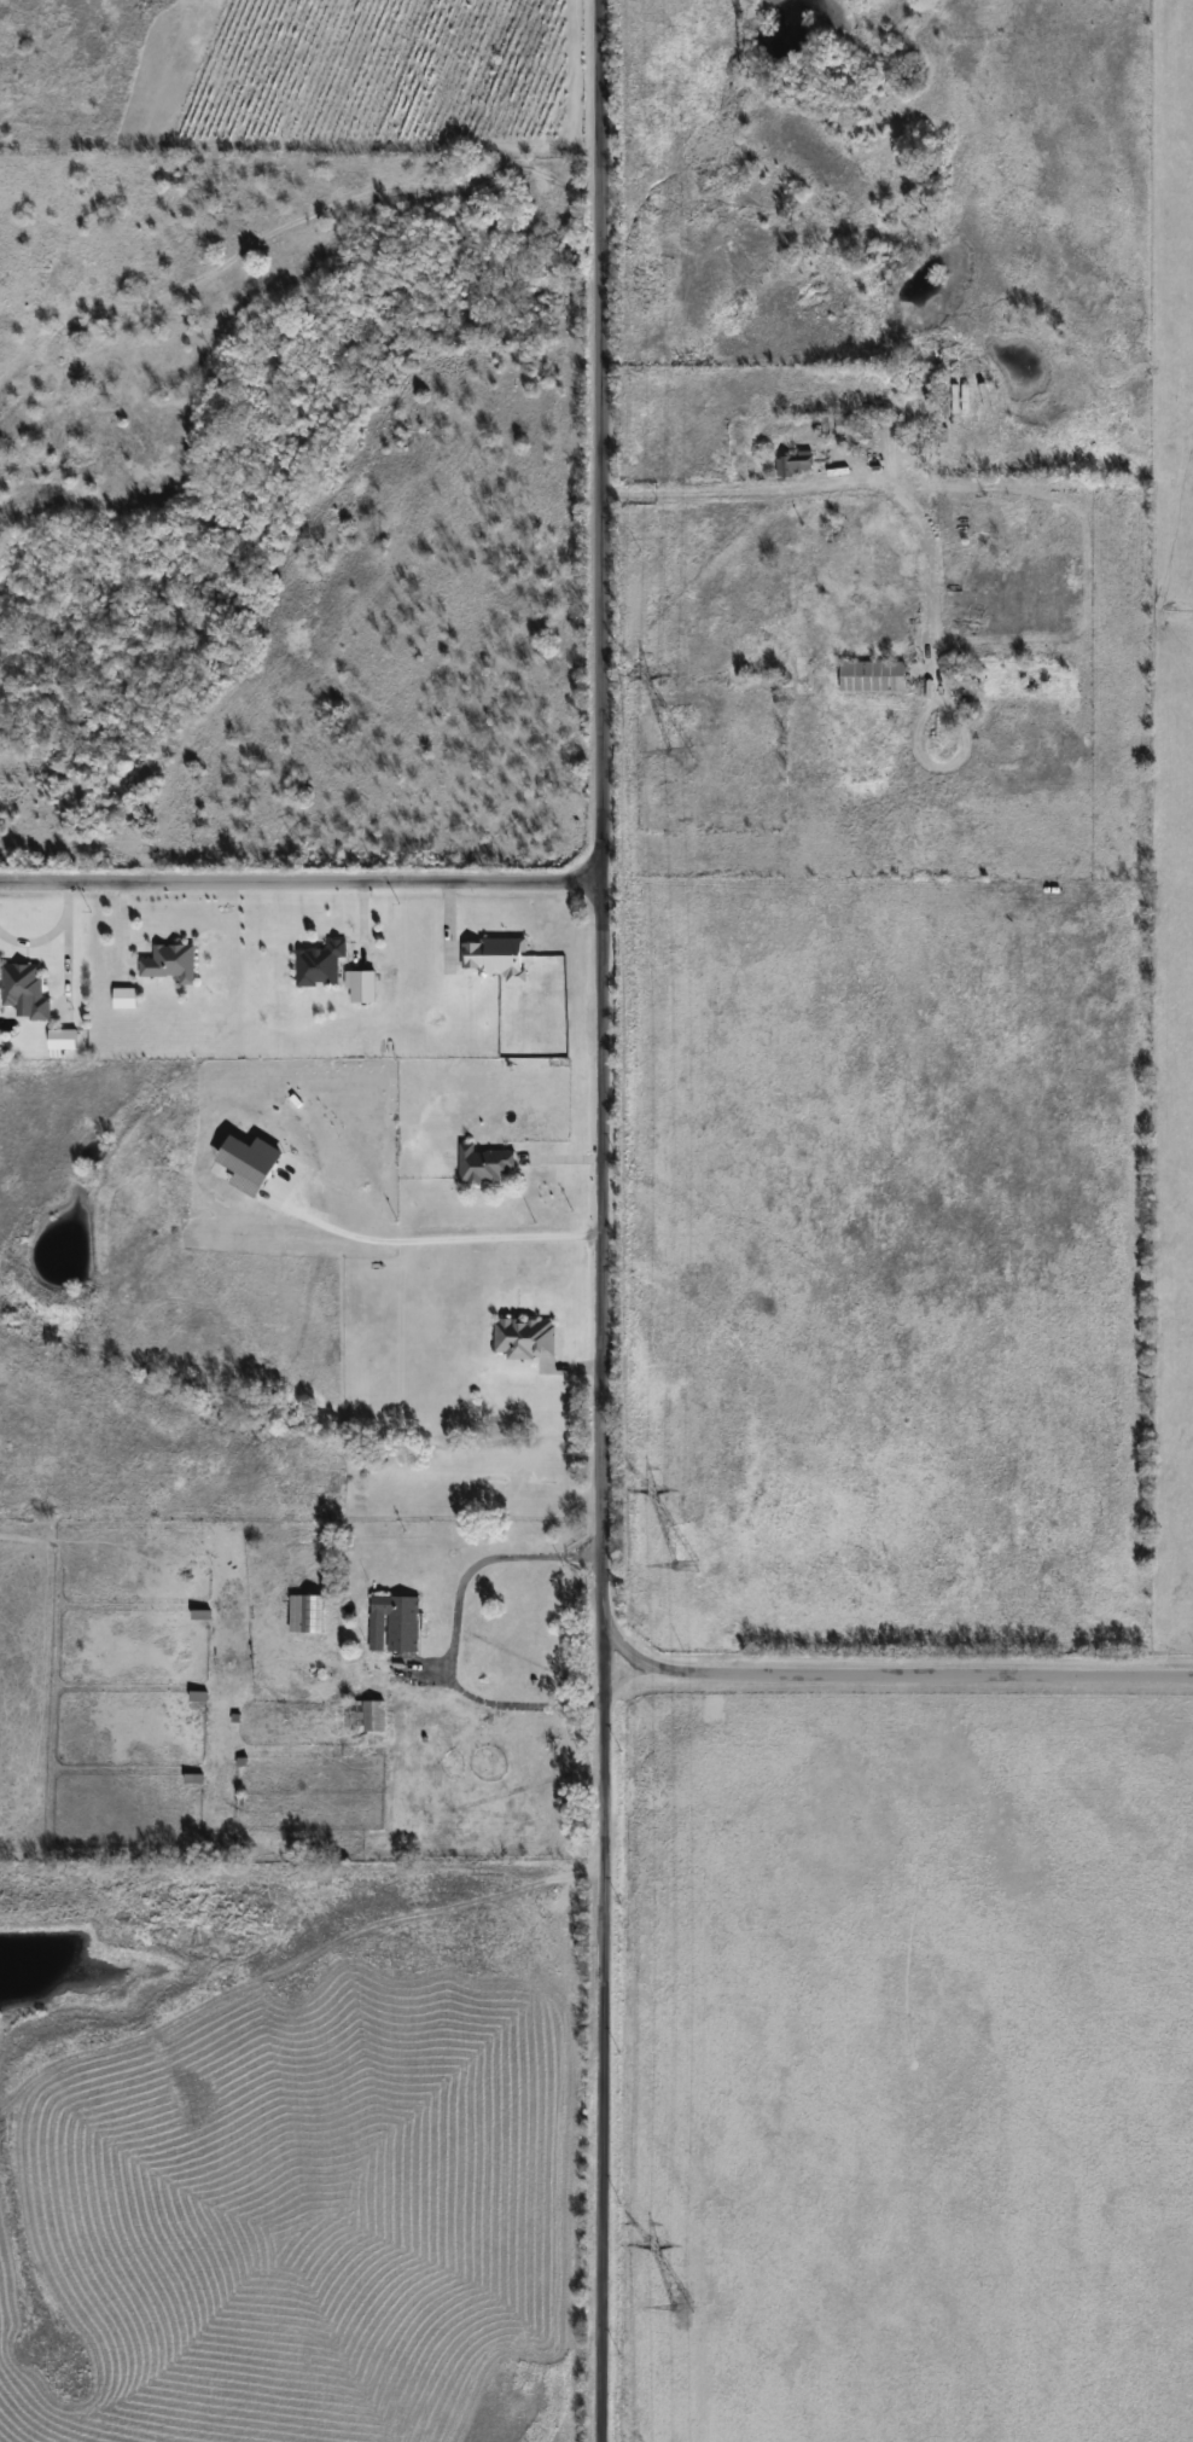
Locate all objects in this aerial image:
building: (843, 426)
building: (792, 461)
road: (825, 483)
building: (871, 675)
power tower: (682, 754)
road: (299, 883)
building: (494, 958)
building: (169, 963)
building: (320, 964)
building: (24, 989)
building: (483, 1164)
road: (601, 1221)
road: (440, 1237)
building: (524, 1338)
building: (42, 1529)
building: (202, 1547)
power tower: (688, 1565)
building: (304, 1615)
building: (394, 1624)
road: (449, 1639)
road: (897, 1675)
building: (363, 1717)
power tower: (683, 2309)

